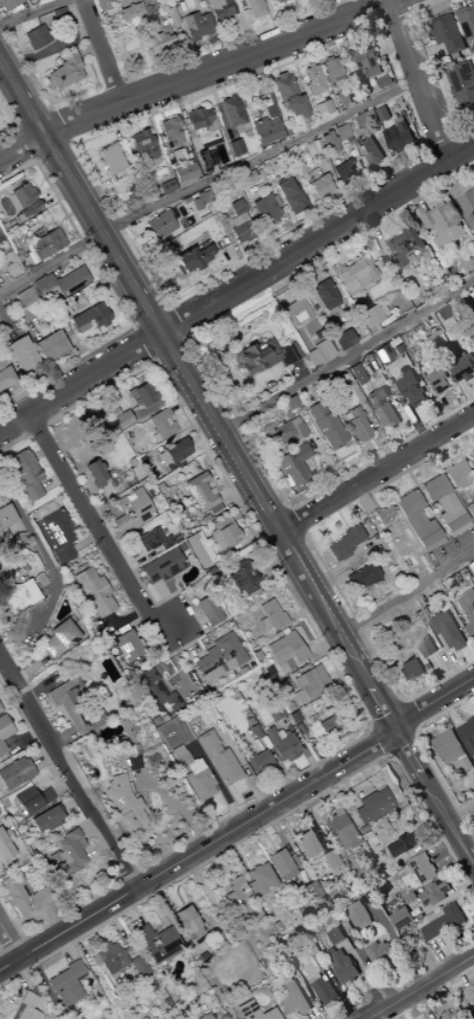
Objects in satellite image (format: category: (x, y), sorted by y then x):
building: (121, 1)
building: (278, 1)
road: (131, 2)
road: (471, 2)
building: (8, 4)
road: (128, 4)
road: (149, 5)
building: (181, 8)
building: (220, 8)
building: (255, 8)
road: (348, 8)
road: (32, 12)
road: (107, 12)
building: (131, 12)
building: (59, 15)
building: (171, 16)
road: (288, 20)
building: (467, 22)
road: (271, 23)
building: (196, 25)
road: (231, 26)
building: (158, 28)
road: (80, 30)
road: (214, 32)
building: (449, 34)
building: (38, 36)
building: (62, 39)
building: (156, 42)
road: (321, 44)
road: (86, 48)
road: (211, 49)
road: (34, 50)
road: (131, 50)
road: (303, 50)
road: (184, 51)
road: (100, 52)
road: (8, 55)
road: (429, 55)
road: (272, 57)
road: (30, 58)
road: (397, 60)
building: (368, 61)
road: (0, 64)
road: (26, 66)
road: (263, 67)
building: (332, 69)
road: (277, 70)
building: (65, 71)
road: (196, 76)
road: (217, 78)
road: (420, 79)
building: (313, 80)
building: (385, 81)
building: (47, 83)
building: (463, 84)
building: (283, 85)
road: (43, 86)
road: (210, 87)
road: (184, 91)
road: (223, 93)
road: (31, 95)
building: (343, 97)
road: (9, 99)
road: (446, 101)
road: (181, 102)
road: (177, 104)
road: (188, 105)
building: (295, 105)
building: (326, 106)
building: (231, 110)
road: (129, 112)
road: (145, 114)
building: (383, 114)
road: (31, 115)
building: (220, 115)
road: (168, 116)
building: (197, 117)
road: (330, 117)
building: (367, 119)
road: (9, 122)
road: (111, 124)
building: (267, 124)
road: (61, 125)
road: (307, 125)
road: (134, 126)
building: (170, 131)
building: (342, 131)
building: (400, 136)
building: (329, 142)
road: (23, 144)
building: (144, 145)
building: (316, 145)
building: (235, 147)
building: (371, 150)
road: (53, 153)
building: (176, 155)
building: (109, 159)
building: (205, 160)
road: (414, 163)
road: (273, 165)
road: (461, 165)
road: (382, 167)
road: (214, 171)
building: (344, 171)
building: (185, 172)
road: (96, 174)
road: (118, 174)
building: (248, 177)
road: (111, 179)
road: (206, 180)
road: (434, 181)
road: (83, 183)
road: (38, 184)
road: (187, 184)
road: (447, 185)
building: (166, 186)
building: (320, 186)
road: (352, 186)
road: (94, 188)
road: (473, 188)
road: (343, 191)
road: (56, 195)
road: (417, 197)
road: (444, 197)
building: (292, 199)
building: (25, 200)
building: (184, 200)
building: (200, 200)
building: (275, 200)
road: (360, 200)
building: (236, 207)
building: (467, 207)
building: (265, 209)
road: (75, 210)
building: (17, 217)
road: (389, 217)
building: (237, 219)
road: (59, 222)
road: (41, 223)
road: (276, 223)
building: (159, 224)
building: (444, 225)
building: (239, 227)
road: (299, 229)
road: (277, 230)
road: (378, 232)
building: (0, 234)
road: (137, 234)
building: (244, 235)
road: (333, 239)
road: (294, 240)
building: (46, 243)
road: (455, 243)
road: (333, 247)
building: (404, 247)
building: (5, 248)
road: (236, 253)
road: (459, 253)
road: (339, 256)
road: (78, 258)
building: (12, 259)
building: (191, 259)
road: (302, 261)
building: (468, 261)
road: (31, 263)
building: (11, 269)
road: (207, 271)
building: (356, 273)
road: (180, 278)
road: (314, 280)
road: (328, 281)
road: (3, 282)
building: (62, 282)
road: (198, 284)
road: (236, 286)
road: (110, 292)
building: (323, 293)
building: (25, 296)
road: (284, 304)
building: (330, 308)
building: (296, 310)
road: (281, 312)
road: (21, 314)
road: (148, 314)
building: (371, 315)
building: (91, 316)
building: (362, 320)
building: (448, 320)
road: (2, 324)
road: (377, 330)
road: (270, 336)
road: (358, 336)
road: (281, 337)
building: (473, 337)
building: (342, 340)
road: (309, 341)
building: (50, 347)
building: (322, 349)
building: (22, 355)
building: (383, 355)
building: (235, 356)
road: (346, 356)
building: (367, 356)
building: (265, 357)
building: (311, 357)
road: (65, 358)
road: (10, 360)
building: (459, 364)
road: (53, 365)
road: (15, 369)
road: (12, 370)
road: (73, 372)
road: (298, 372)
building: (356, 374)
building: (5, 375)
road: (61, 379)
road: (472, 384)
building: (441, 385)
road: (369, 386)
building: (411, 389)
road: (305, 393)
building: (141, 395)
building: (377, 398)
building: (290, 403)
road: (442, 404)
road: (343, 405)
road: (295, 412)
building: (286, 415)
building: (387, 415)
building: (122, 420)
road: (415, 422)
building: (160, 424)
building: (357, 425)
building: (326, 426)
building: (287, 433)
road: (400, 433)
road: (373, 448)
road: (312, 450)
building: (172, 454)
road: (310, 455)
road: (334, 457)
road: (235, 461)
road: (306, 461)
road: (303, 462)
road: (325, 465)
building: (293, 466)
building: (94, 473)
road: (376, 473)
building: (459, 474)
building: (25, 475)
road: (336, 482)
building: (199, 493)
building: (439, 497)
building: (470, 510)
building: (130, 511)
road: (85, 513)
building: (382, 515)
building: (5, 522)
building: (417, 522)
building: (455, 525)
building: (54, 531)
building: (224, 536)
building: (152, 540)
building: (342, 544)
building: (198, 549)
road: (40, 556)
building: (161, 567)
building: (470, 569)
building: (361, 577)
building: (38, 579)
building: (243, 579)
building: (92, 592)
road: (406, 592)
building: (17, 595)
building: (468, 609)
building: (207, 611)
building: (269, 616)
building: (444, 628)
building: (57, 639)
building: (125, 646)
building: (285, 649)
building: (427, 649)
road: (160, 657)
building: (218, 657)
building: (409, 669)
building: (308, 684)
building: (156, 692)
building: (72, 706)
building: (0, 711)
building: (4, 728)
building: (323, 729)
building: (467, 736)
building: (281, 746)
building: (448, 748)
building: (2, 749)
building: (218, 759)
building: (258, 762)
building: (14, 773)
building: (193, 774)
road: (69, 776)
building: (31, 799)
building: (121, 802)
building: (372, 806)
road: (463, 818)
building: (44, 820)
road: (238, 830)
building: (338, 830)
building: (305, 845)
building: (403, 845)
building: (5, 846)
building: (66, 854)
building: (292, 860)
building: (330, 863)
building: (280, 865)
building: (423, 868)
building: (260, 880)
building: (309, 891)
building: (434, 893)
building: (21, 896)
building: (240, 903)
building: (358, 916)
building: (400, 919)
building: (187, 922)
building: (442, 922)
building: (335, 936)
road: (10, 942)
building: (155, 944)
road: (396, 945)
building: (378, 952)
building: (117, 961)
building: (342, 966)
building: (65, 984)
building: (321, 990)
road: (426, 991)
building: (292, 1000)
building: (25, 1008)
building: (253, 1012)
building: (451, 1016)
building: (205, 1017)

